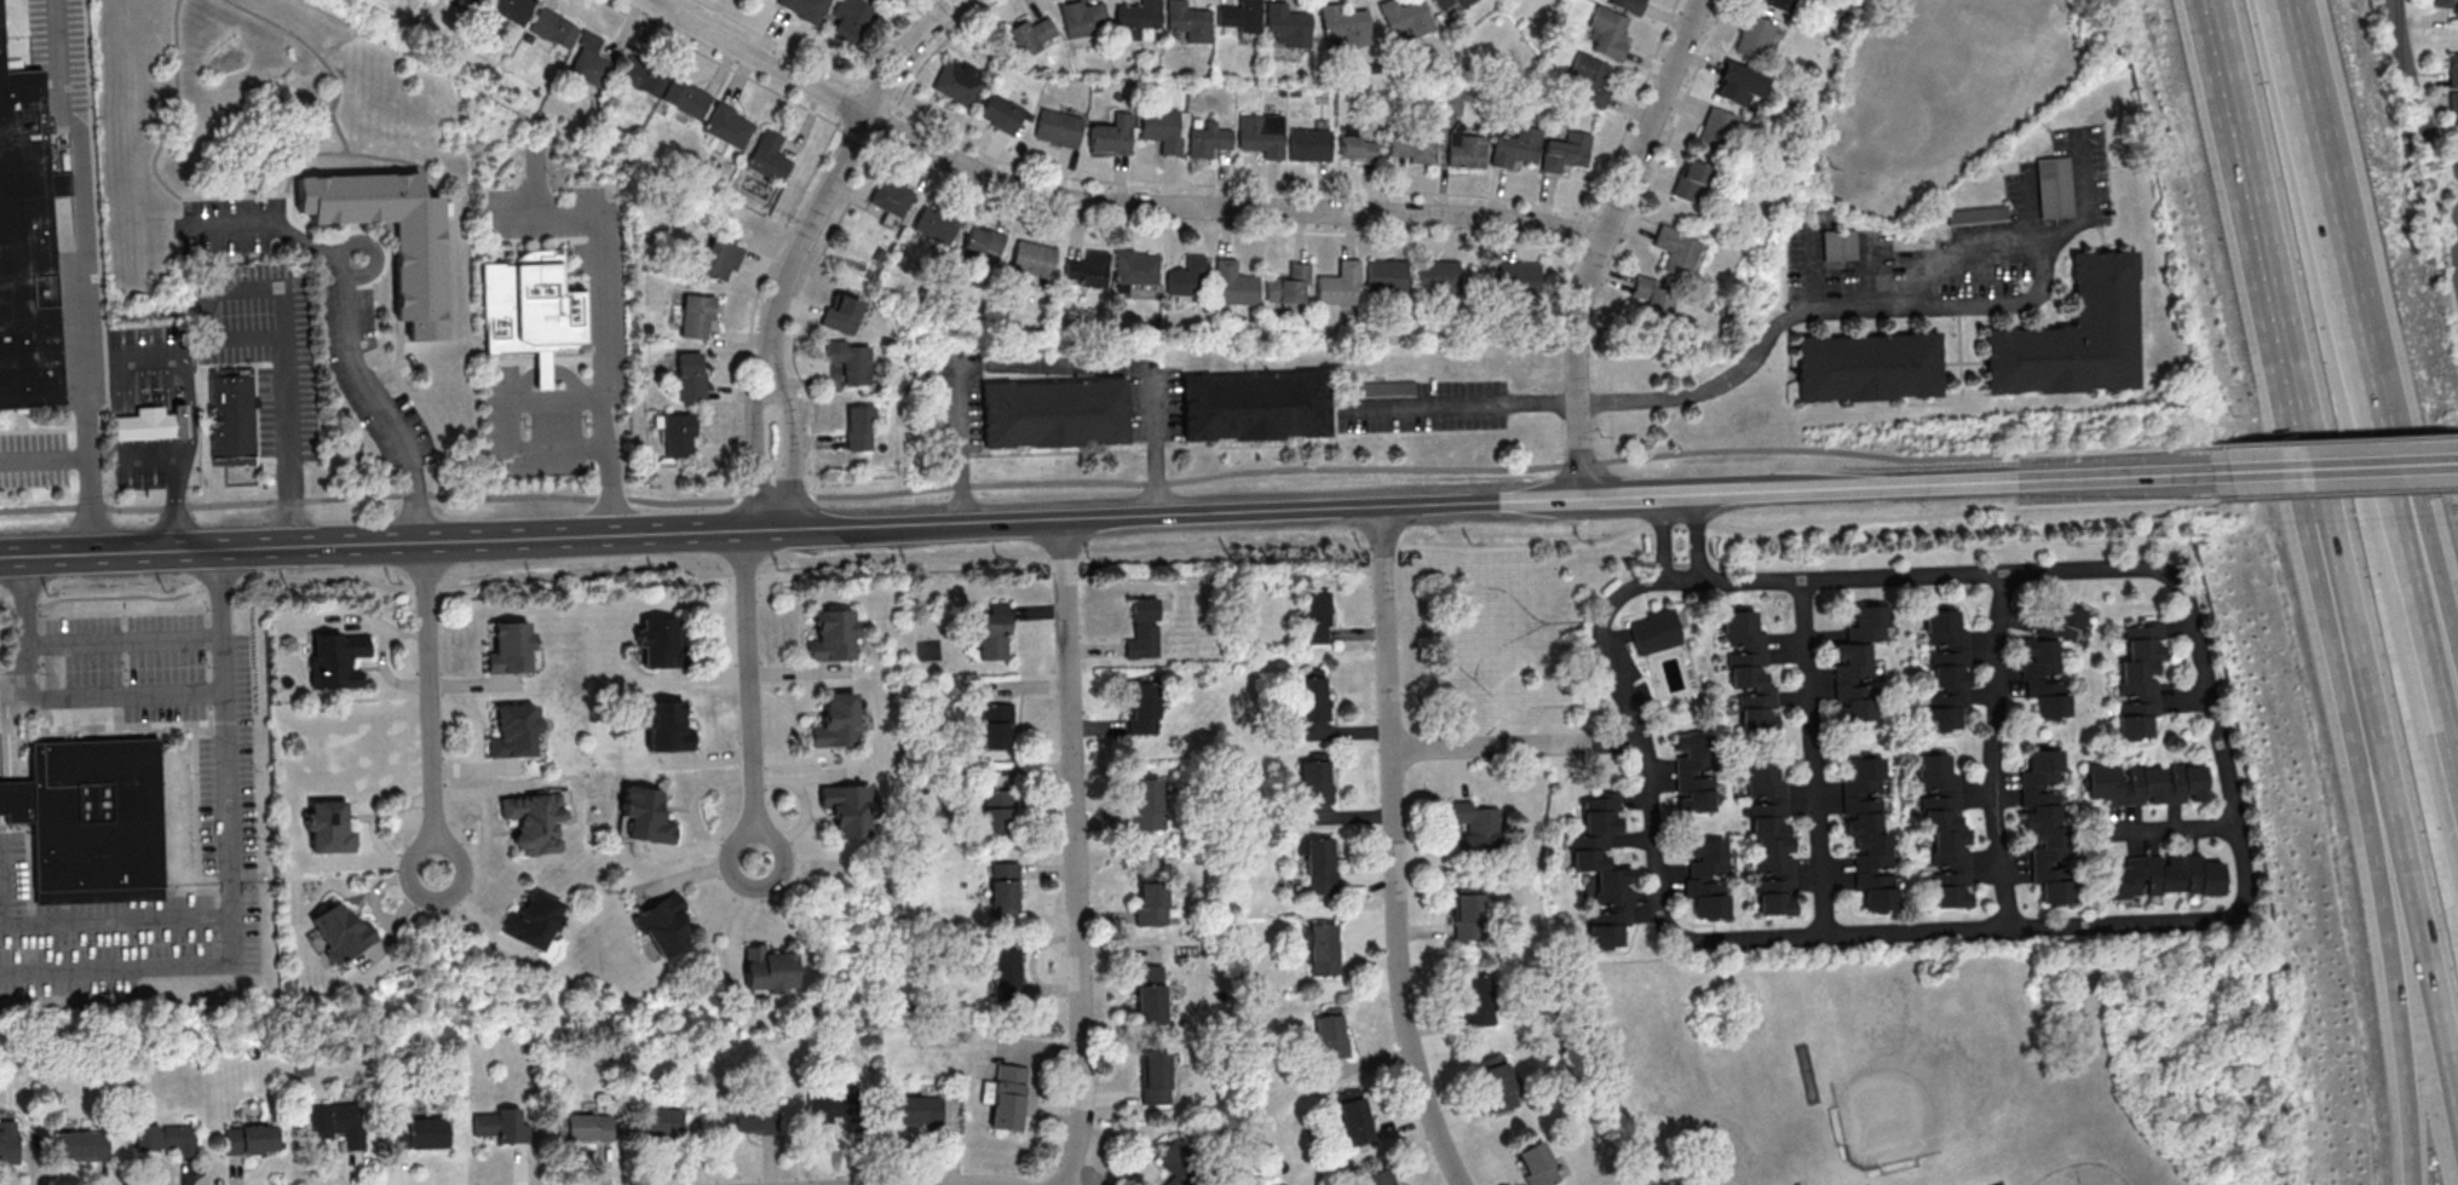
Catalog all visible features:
building: (468, 0)
building: (1630, 5)
building: (2447, 5)
building: (1777, 6)
building: (1444, 7)
building: (805, 8)
building: (508, 10)
building: (1239, 17)
building: (1082, 18)
building: (1406, 18)
building: (851, 19)
building: (1136, 21)
building: (1186, 23)
building: (1286, 24)
building: (1345, 25)
building: (553, 29)
building: (1610, 33)
building: (1032, 36)
building: (1754, 38)
building: (589, 62)
building: (641, 76)
building: (1590, 80)
building: (959, 82)
road: (2411, 84)
building: (1732, 86)
building: (2453, 87)
park: (1939, 92)
building: (685, 99)
road: (2238, 102)
park: (1906, 107)
building: (1001, 114)
building: (729, 126)
building: (1059, 128)
building: (1163, 128)
building: (1716, 132)
building: (1263, 134)
building: (1113, 136)
building: (1209, 139)
building: (1312, 145)
building: (1415, 145)
building: (1516, 148)
building: (1360, 149)
building: (1467, 151)
building: (1566, 153)
building: (769, 157)
road: (833, 178)
building: (1691, 183)
building: (2053, 188)
building: (891, 197)
road: (1109, 200)
building: (1976, 217)
building: (936, 225)
building: (30, 236)
road: (1602, 241)
building: (983, 246)
building: (1838, 246)
building: (1677, 252)
building: (719, 260)
building: (1031, 261)
building: (1136, 269)
road: (79, 270)
building: (1087, 270)
building: (418, 274)
road: (2273, 276)
building: (1387, 277)
building: (1438, 277)
building: (1519, 278)
building: (1187, 280)
building: (1234, 286)
building: (1340, 286)
building: (1289, 287)
building: (1654, 301)
road: (1877, 303)
building: (529, 310)
road: (2372, 311)
building: (841, 316)
building: (696, 317)
road: (351, 330)
road: (600, 330)
building: (2077, 338)
road: (166, 352)
building: (850, 363)
building: (1869, 369)
building: (690, 378)
road: (287, 382)
road: (2367, 390)
road: (1466, 404)
building: (1256, 409)
building: (1055, 415)
building: (231, 418)
building: (151, 425)
road: (129, 427)
building: (859, 430)
building: (679, 436)
road: (2335, 439)
road: (959, 444)
road: (1152, 445)
road: (790, 451)
road: (752, 453)
road: (45, 455)
road: (168, 464)
road: (2336, 468)
road: (2044, 481)
road: (1106, 482)
road: (1812, 490)
road: (1667, 494)
road: (2343, 494)
road: (1549, 500)
road: (179, 508)
road: (1156, 514)
road: (737, 530)
road: (1698, 536)
road: (1660, 537)
road: (339, 545)
road: (1115, 552)
road: (2163, 574)
road: (221, 592)
road: (1464, 594)
building: (1317, 616)
building: (1145, 628)
building: (992, 631)
building: (1654, 631)
building: (834, 634)
road: (80, 643)
building: (661, 643)
road: (1501, 643)
building: (510, 646)
building: (2048, 657)
building: (335, 658)
road: (1564, 662)
building: (1858, 663)
building: (1749, 671)
building: (1946, 672)
road: (28, 678)
building: (2138, 683)
road: (748, 695)
road: (116, 697)
building: (1313, 697)
road: (1548, 706)
building: (1142, 707)
road: (422, 708)
building: (837, 720)
building: (997, 725)
building: (667, 726)
road: (2373, 727)
building: (514, 730)
road: (1515, 747)
road: (1992, 750)
road: (1814, 758)
road: (2360, 764)
building: (1693, 773)
building: (1317, 781)
building: (2143, 784)
building: (1146, 803)
building: (847, 807)
building: (1001, 811)
building: (646, 815)
building: (96, 819)
building: (536, 819)
building: (2044, 822)
building: (330, 827)
building: (1476, 828)
building: (1942, 828)
building: (1867, 832)
road: (2170, 832)
building: (1771, 840)
road: (1395, 850)
road: (1080, 852)
building: (1322, 864)
building: (1604, 869)
building: (1706, 876)
building: (2166, 876)
building: (1005, 890)
building: (1151, 902)
building: (1468, 915)
road: (230, 916)
road: (115, 917)
building: (533, 919)
building: (666, 926)
building: (341, 931)
building: (1324, 949)
building: (769, 968)
building: (1007, 973)
building: (1150, 995)
building: (1478, 1001)
building: (1332, 1035)
building: (1156, 1078)
building: (1498, 1083)
building: (1008, 1098)
building: (836, 1105)
building: (915, 1110)
building: (754, 1117)
building: (1357, 1117)
building: (336, 1122)
building: (660, 1123)
building: (501, 1126)
building: (585, 1128)
building: (416, 1133)
building: (166, 1139)
building: (251, 1139)
building: (7, 1141)
building: (81, 1145)
building: (1180, 1163)
building: (1538, 1164)
building: (1381, 1178)

